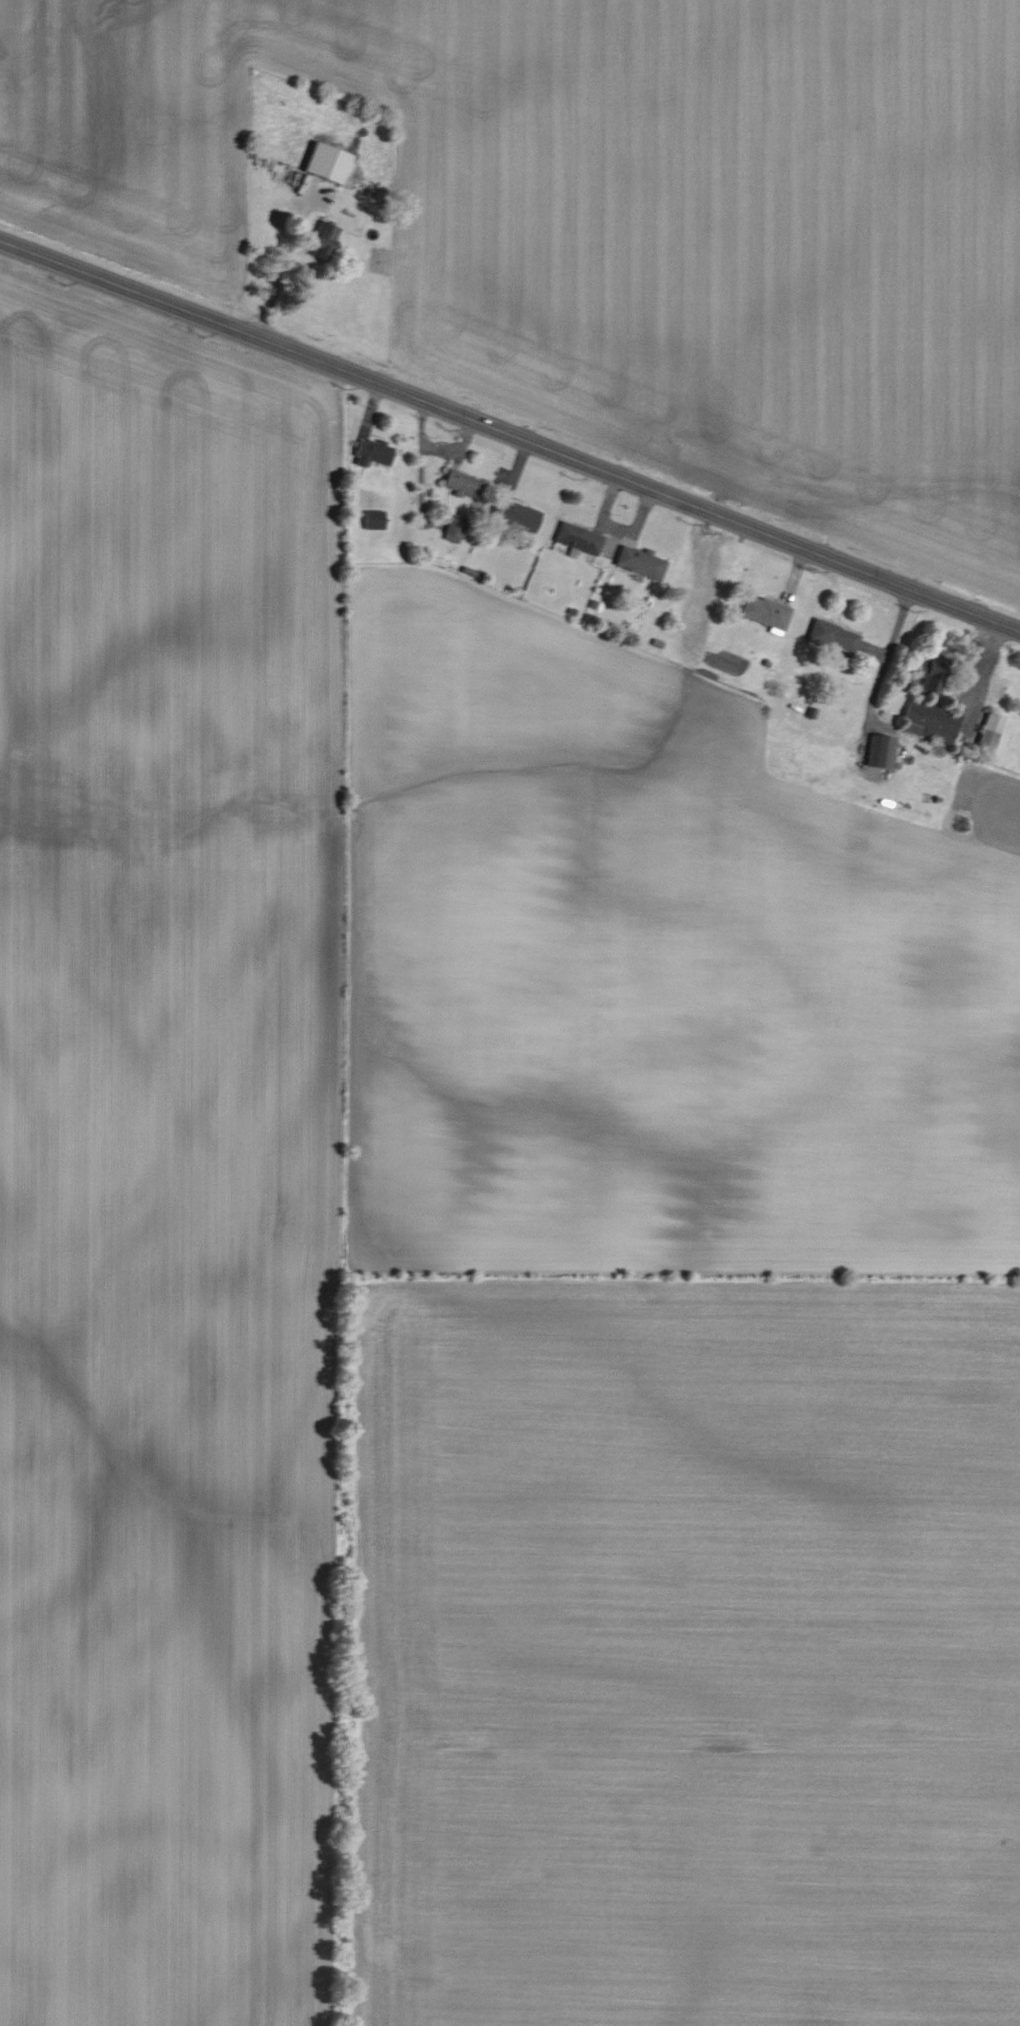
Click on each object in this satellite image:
building: (326, 163)
building: (323, 240)
road: (279, 273)
road: (510, 433)
building: (372, 452)
building: (461, 483)
building: (517, 514)
building: (373, 519)
building: (455, 528)
building: (578, 537)
building: (641, 561)
building: (765, 612)
building: (832, 635)
road: (886, 659)
building: (929, 672)
road: (984, 676)
building: (932, 720)
building: (991, 730)
building: (881, 751)

